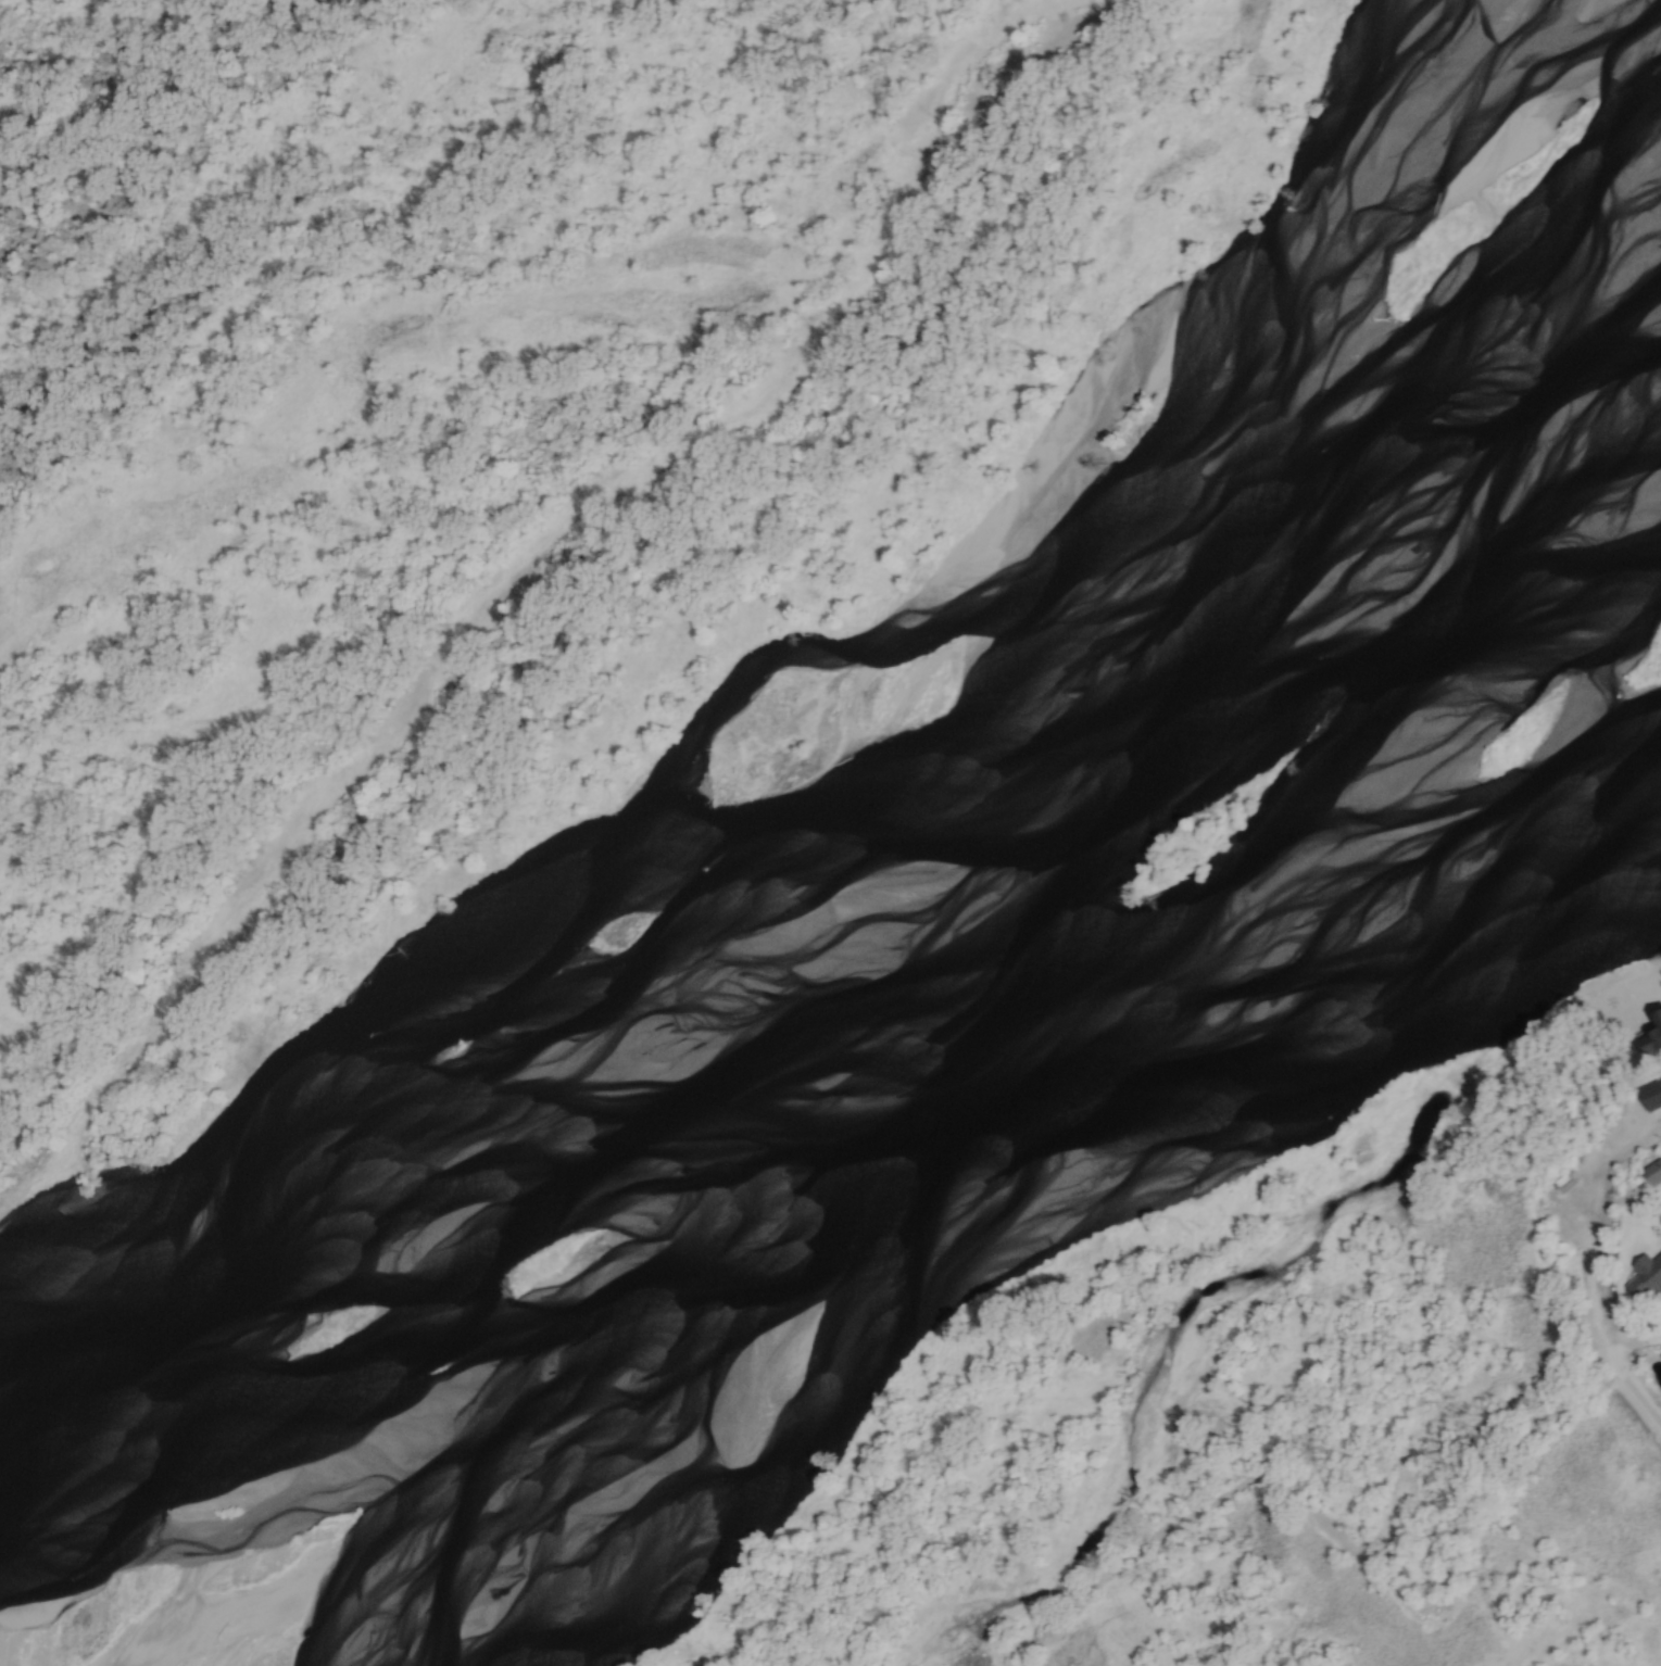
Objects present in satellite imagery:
river: (909, 1006)
building: (1656, 1173)
road: (1603, 1228)
building: (1647, 1278)
road: (1637, 1388)

